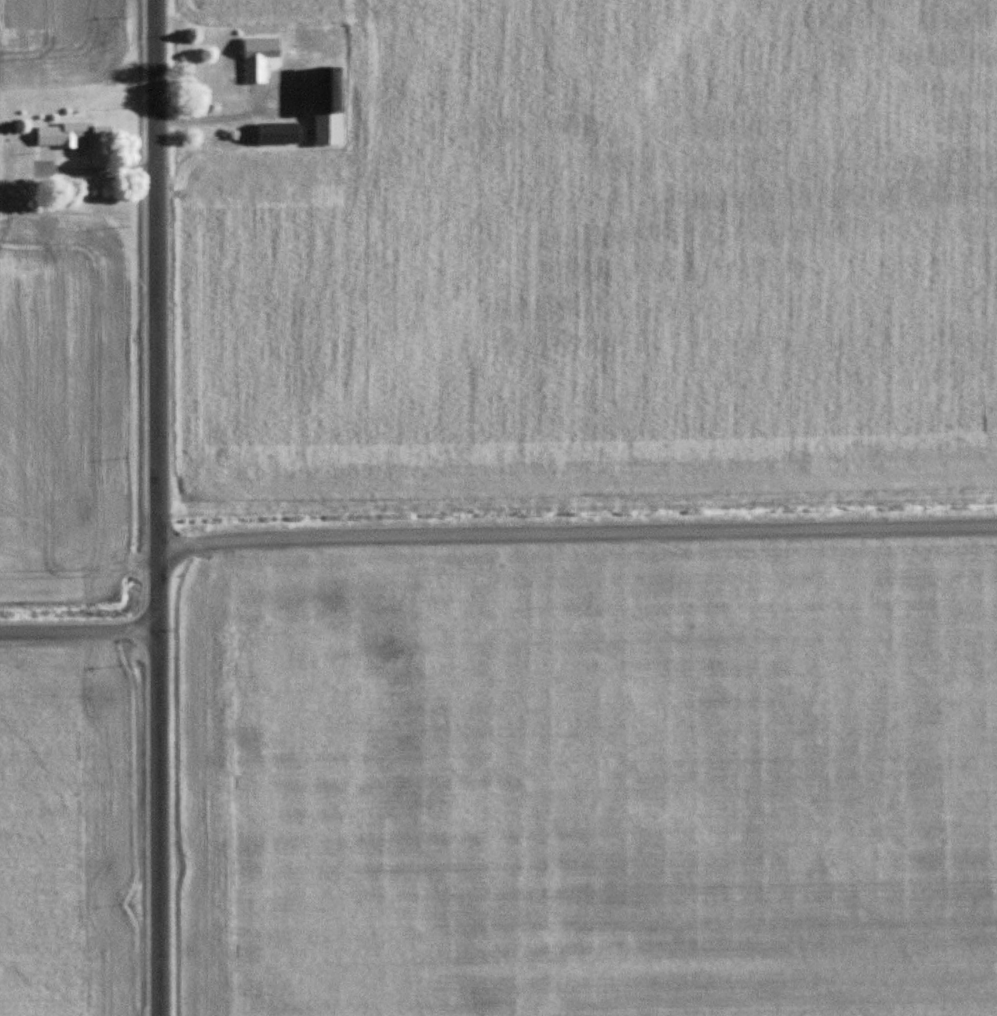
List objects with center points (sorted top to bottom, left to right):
building: (260, 59)
building: (330, 107)
road: (203, 117)
building: (278, 134)
building: (77, 137)
road: (100, 168)
road: (156, 507)
road: (576, 533)
road: (79, 632)

